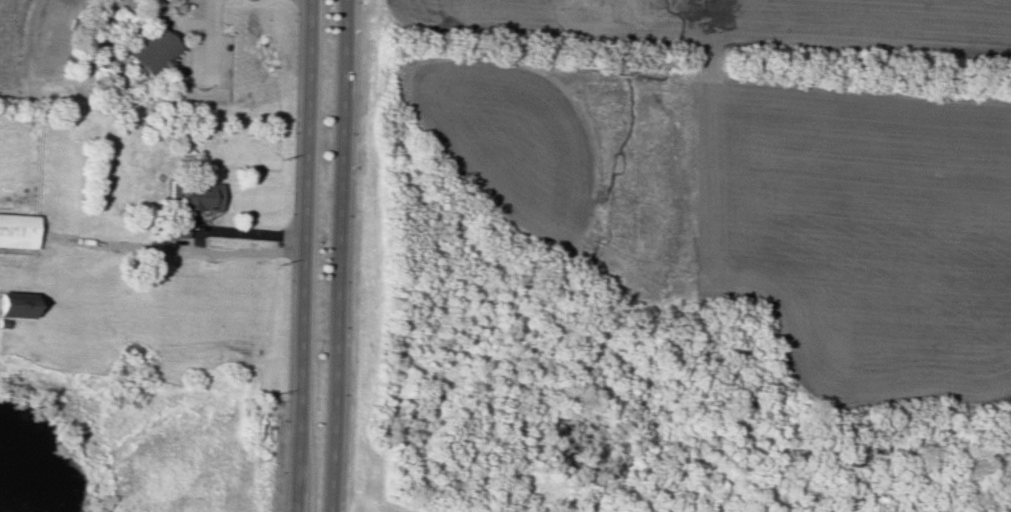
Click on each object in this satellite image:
crop: (732, 25)
road: (212, 39)
building: (152, 49)
building: (195, 195)
building: (18, 230)
crop: (863, 233)
road: (196, 241)
road: (122, 246)
road: (299, 255)
road: (335, 256)
building: (16, 303)

